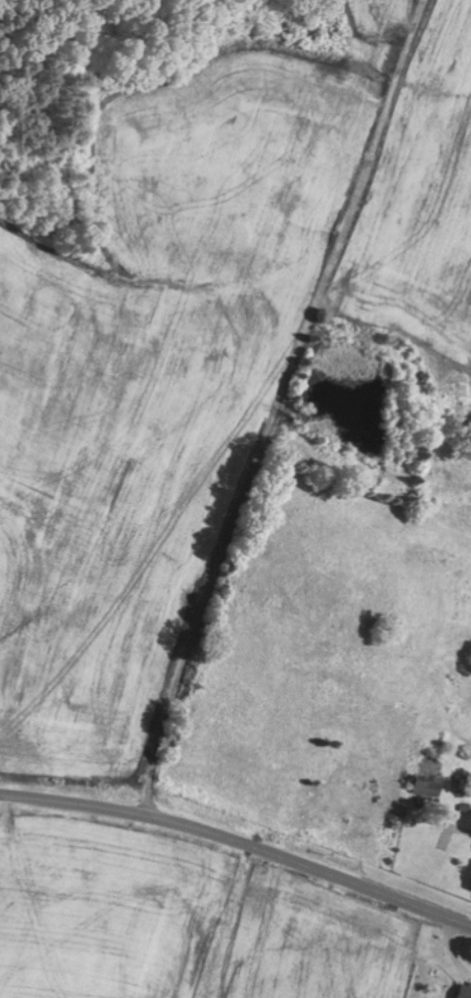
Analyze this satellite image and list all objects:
road: (251, 406)
building: (422, 786)
road: (240, 842)

